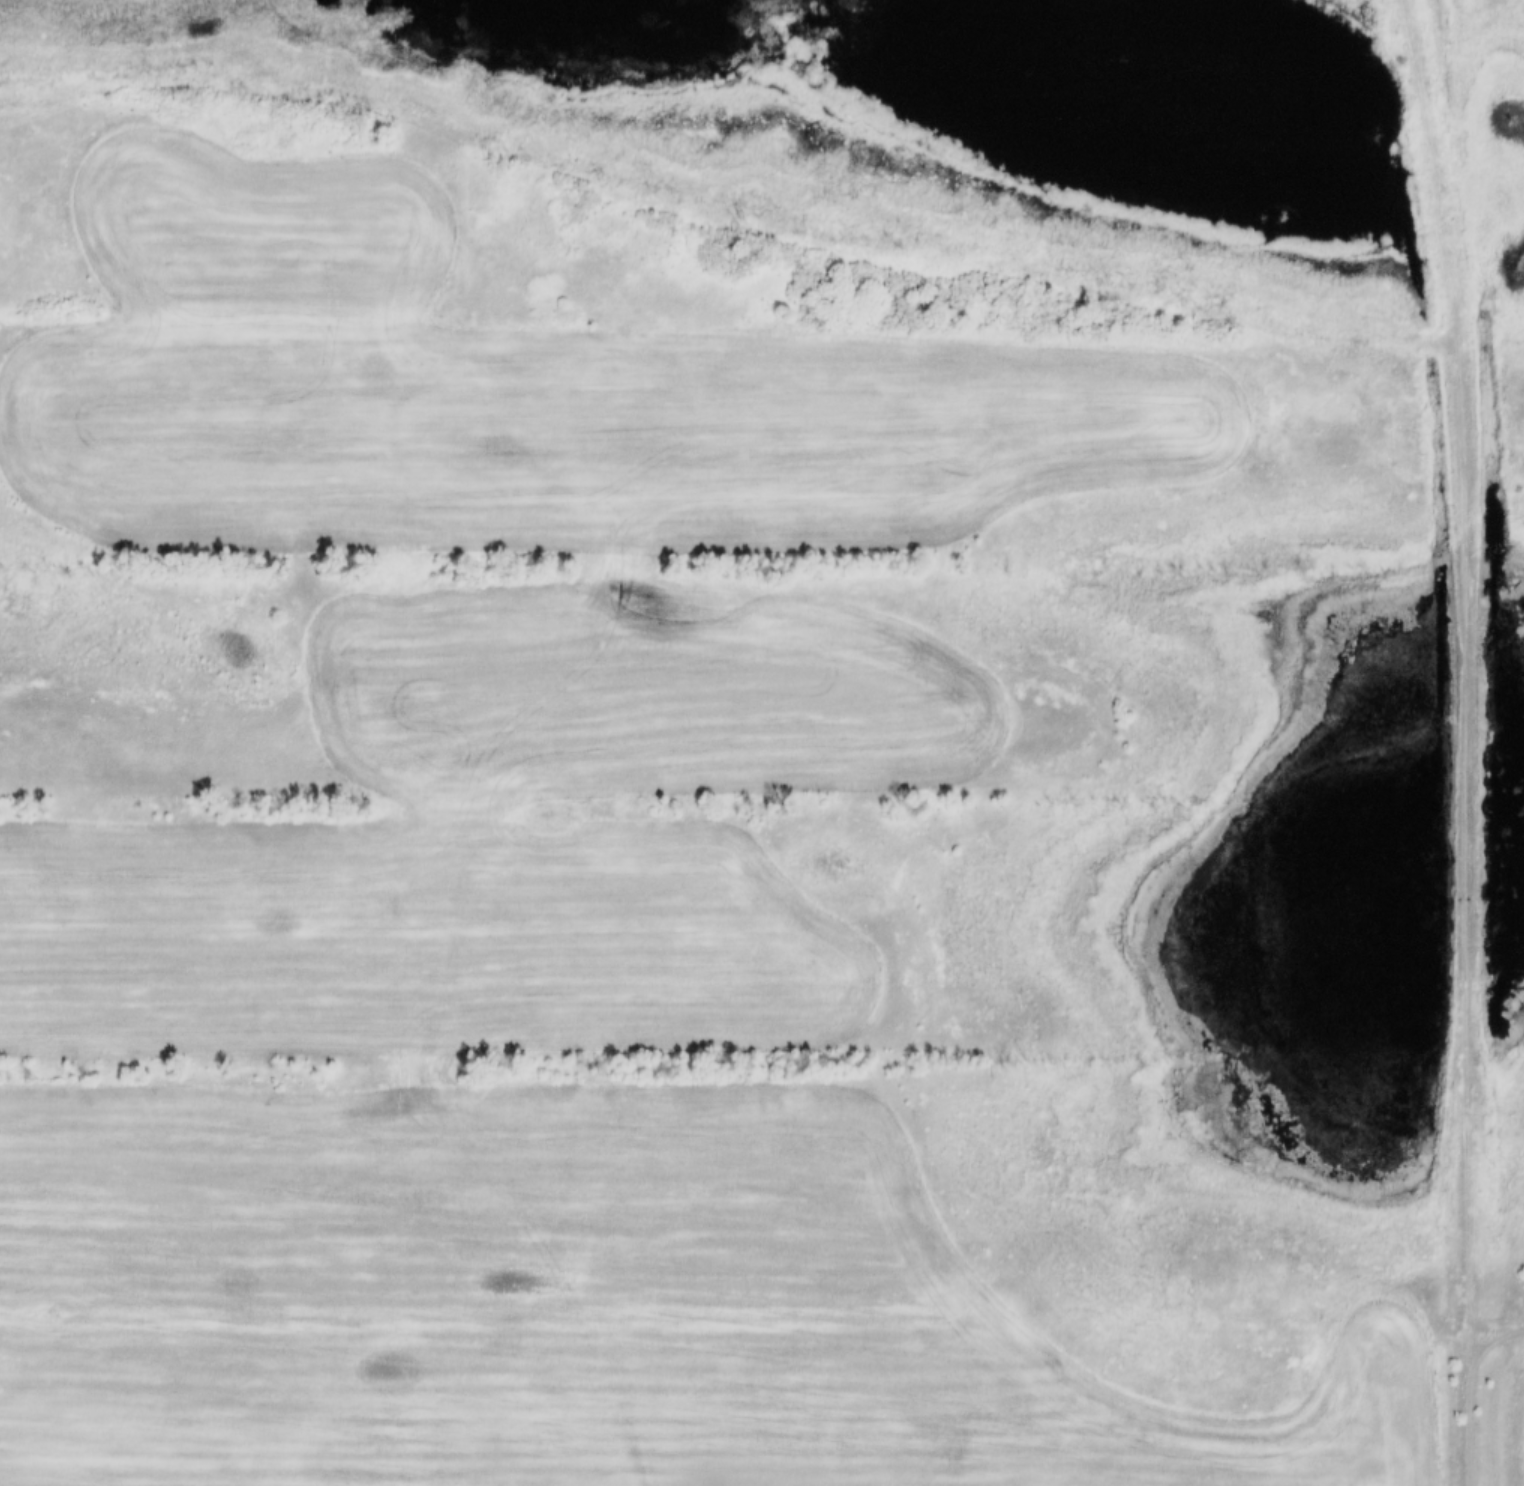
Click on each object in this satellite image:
road: (1494, 1333)
road: (1466, 1412)

